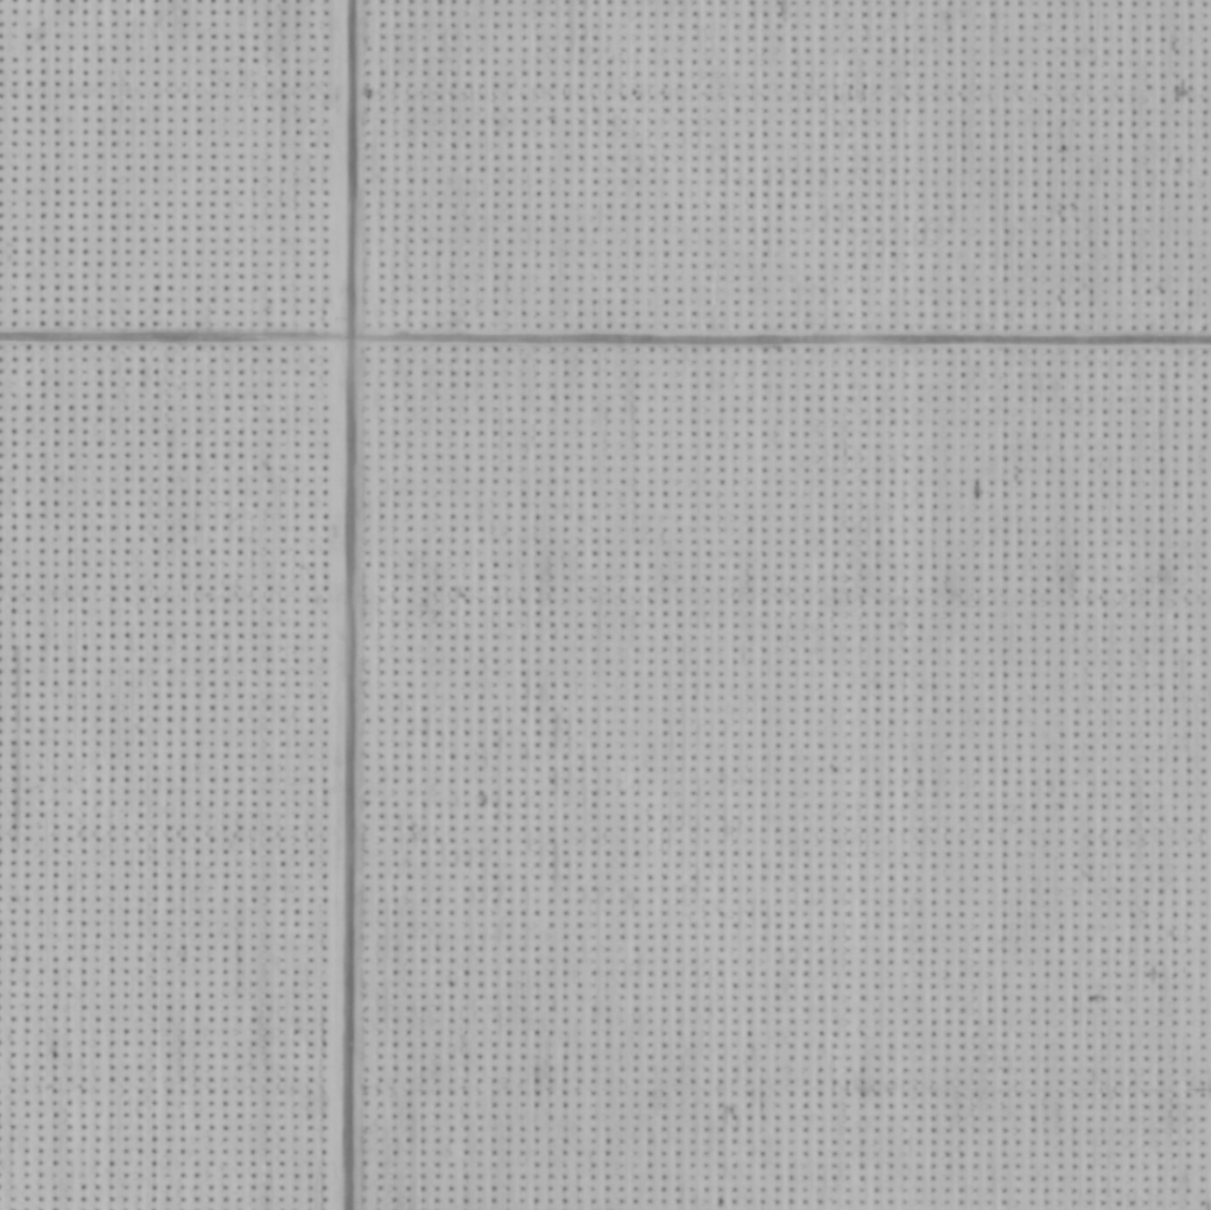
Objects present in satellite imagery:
road: (605, 344)
road: (337, 604)

